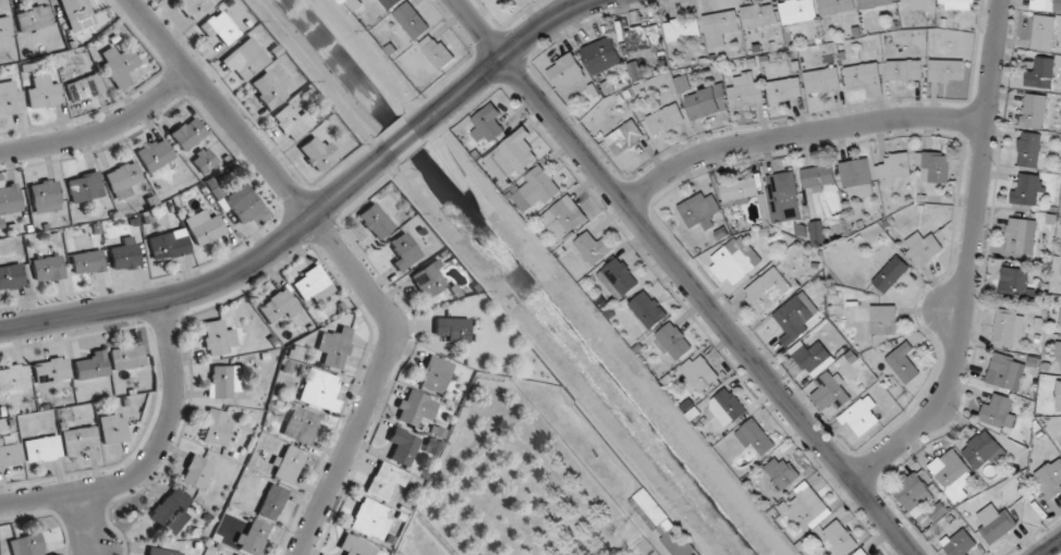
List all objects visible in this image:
building: (504, 0)
building: (917, 2)
building: (390, 3)
building: (874, 3)
building: (956, 4)
building: (1047, 5)
building: (837, 7)
building: (194, 8)
building: (797, 11)
building: (77, 14)
building: (759, 15)
building: (33, 18)
building: (412, 21)
building: (720, 27)
building: (218, 28)
building: (683, 29)
building: (5, 30)
building: (1044, 33)
building: (644, 37)
road: (511, 50)
building: (437, 51)
building: (602, 55)
building: (245, 60)
building: (119, 66)
building: (905, 71)
building: (947, 71)
building: (566, 73)
building: (1041, 74)
building: (866, 79)
building: (822, 81)
building: (84, 88)
building: (784, 89)
building: (266, 90)
building: (44, 94)
building: (725, 97)
building: (11, 98)
building: (1034, 111)
building: (666, 119)
building: (292, 122)
building: (488, 124)
road: (101, 128)
building: (187, 134)
road: (797, 134)
road: (406, 137)
building: (625, 138)
building: (1029, 150)
building: (318, 153)
building: (155, 155)
building: (512, 157)
building: (203, 161)
building: (934, 166)
building: (893, 169)
building: (819, 178)
building: (122, 180)
building: (857, 180)
building: (85, 187)
building: (536, 189)
building: (741, 189)
building: (1026, 189)
building: (45, 196)
building: (783, 197)
building: (10, 199)
building: (243, 203)
building: (700, 210)
building: (564, 218)
building: (375, 221)
building: (204, 229)
building: (817, 233)
building: (1021, 236)
building: (169, 245)
building: (594, 248)
building: (923, 249)
building: (404, 251)
building: (125, 255)
road: (344, 256)
road: (969, 260)
building: (86, 262)
building: (731, 266)
building: (47, 269)
building: (892, 274)
building: (11, 276)
road: (684, 277)
building: (1060, 277)
building: (619, 279)
building: (428, 280)
building: (309, 283)
building: (1015, 283)
road: (207, 285)
building: (767, 291)
building: (279, 306)
building: (648, 309)
building: (796, 318)
building: (883, 320)
building: (1010, 328)
building: (451, 330)
building: (1060, 331)
building: (218, 338)
building: (674, 341)
building: (334, 347)
building: (1058, 350)
building: (126, 357)
building: (813, 357)
building: (904, 363)
building: (92, 366)
building: (50, 370)
building: (702, 371)
building: (1007, 372)
building: (435, 374)
building: (13, 378)
building: (221, 382)
building: (319, 391)
building: (832, 391)
building: (1058, 396)
building: (728, 407)
building: (414, 408)
building: (1000, 411)
building: (863, 416)
building: (216, 428)
building: (304, 428)
building: (112, 429)
building: (756, 439)
building: (78, 440)
building: (402, 445)
building: (41, 448)
building: (981, 449)
building: (9, 455)
road: (151, 457)
building: (288, 465)
building: (195, 472)
building: (783, 472)
building: (953, 474)
building: (1050, 478)
building: (385, 480)
building: (912, 489)
building: (271, 503)
building: (807, 508)
building: (170, 509)
building: (369, 520)
road: (85, 523)
building: (662, 523)
building: (996, 525)
building: (252, 536)
building: (840, 538)
building: (960, 543)
building: (26, 545)
building: (355, 546)
road: (1049, 546)
building: (161, 552)
building: (862, 552)

